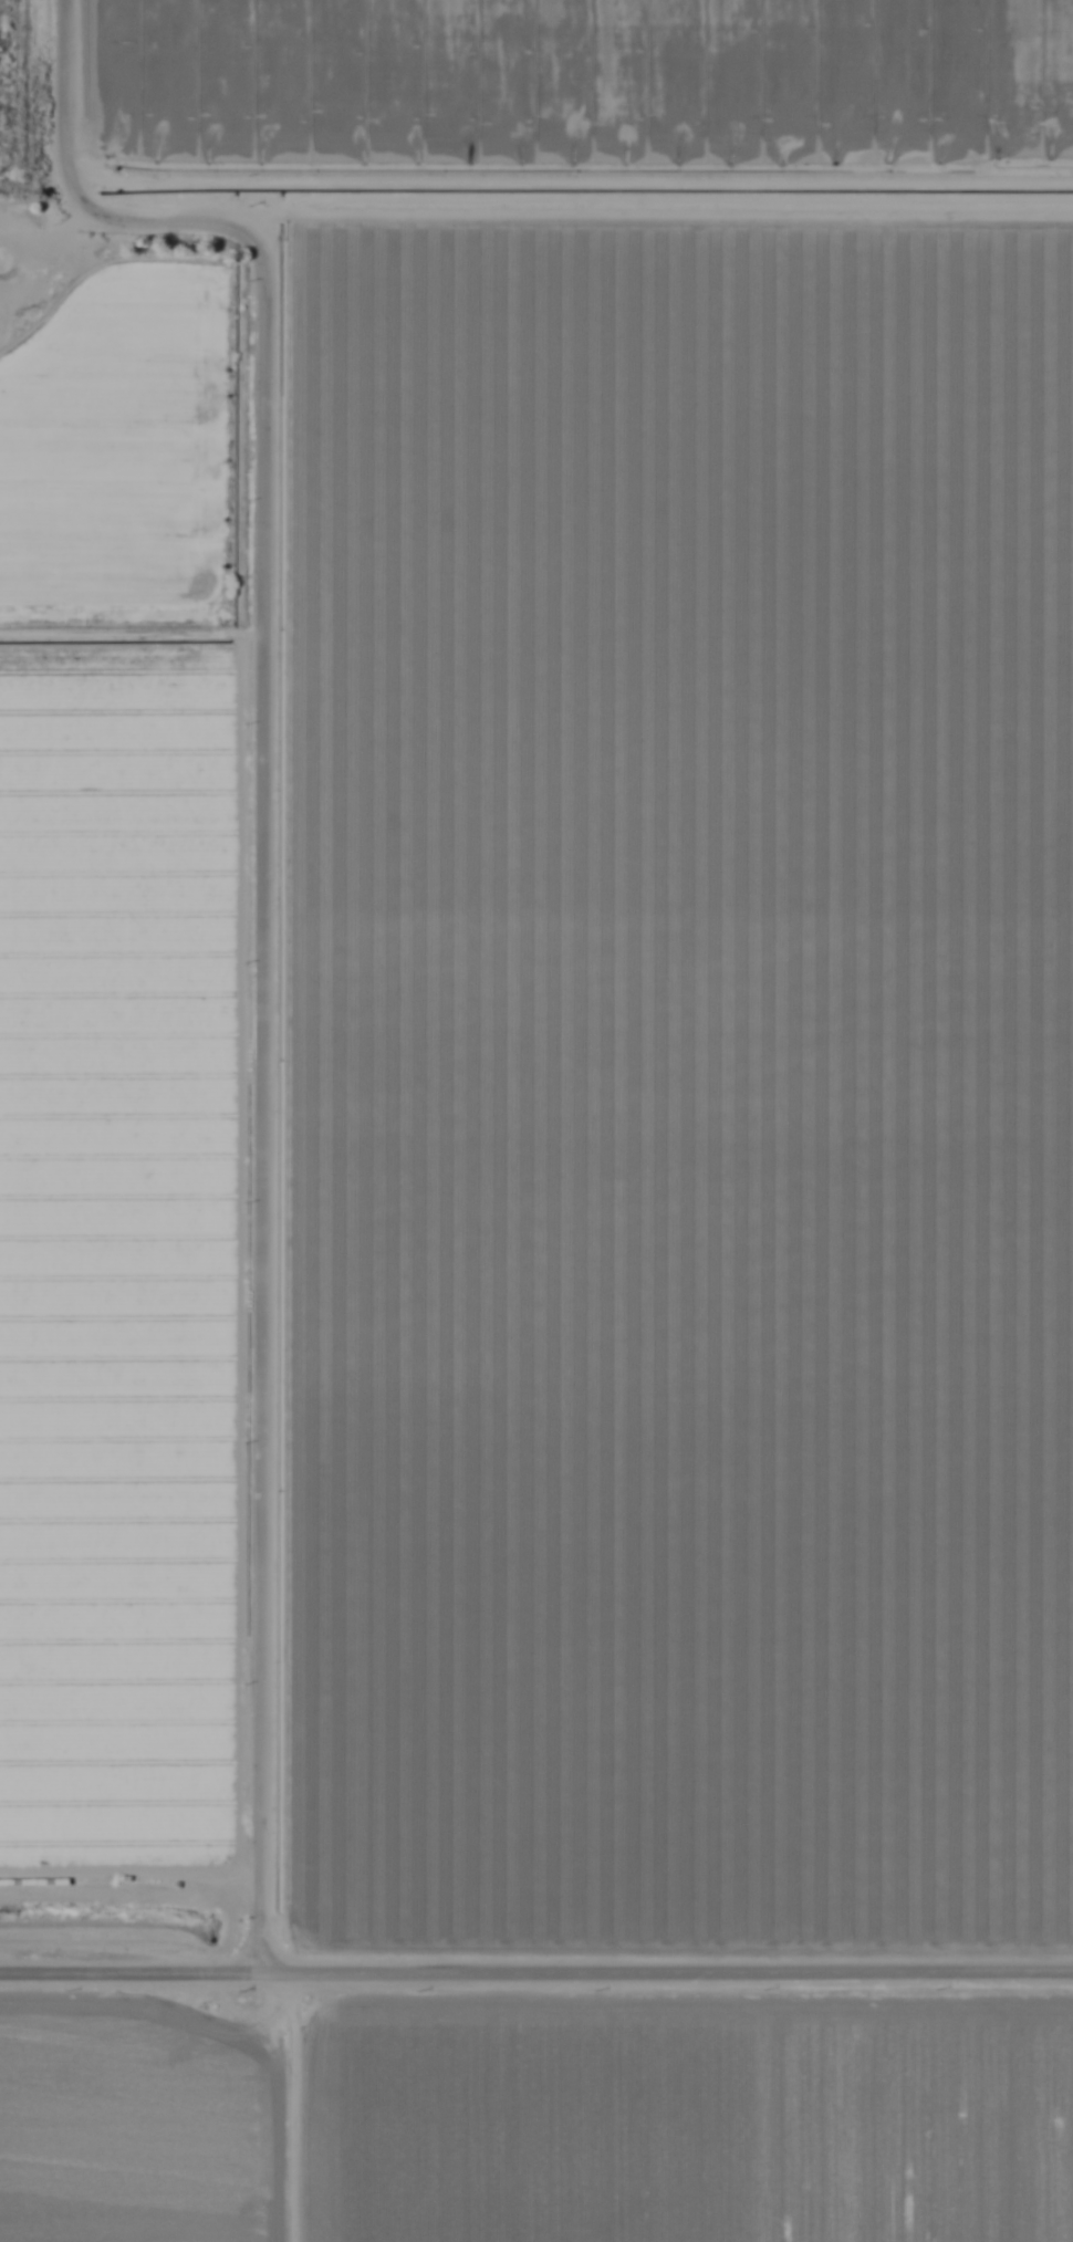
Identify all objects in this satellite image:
road: (264, 911)
road: (535, 1968)

